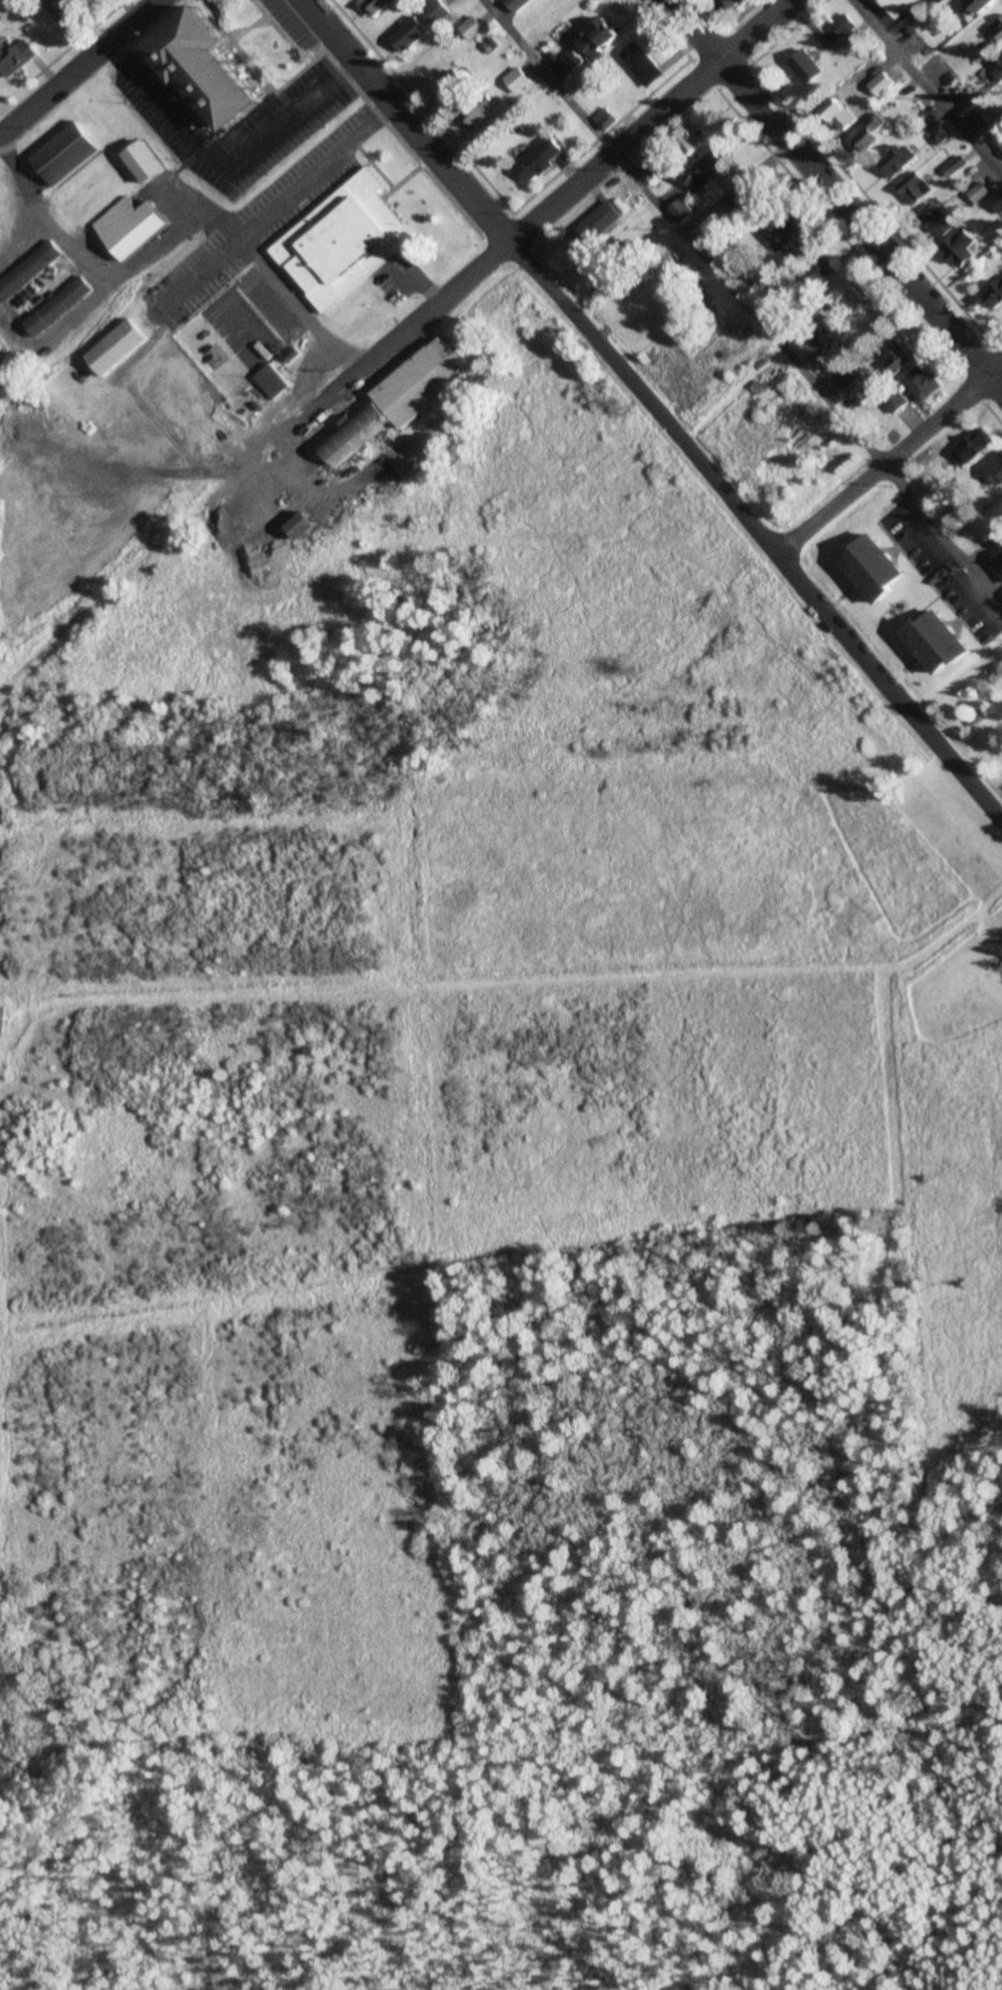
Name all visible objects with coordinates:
building: (732, 3)
building: (520, 4)
building: (982, 4)
building: (904, 6)
building: (379, 7)
road: (130, 8)
building: (67, 12)
building: (439, 13)
building: (846, 26)
building: (475, 29)
building: (411, 36)
building: (602, 39)
road: (73, 40)
road: (239, 48)
building: (492, 48)
building: (17, 58)
building: (573, 61)
road: (79, 65)
building: (644, 65)
building: (809, 67)
building: (997, 69)
building: (217, 71)
building: (459, 80)
building: (520, 80)
building: (882, 85)
road: (926, 87)
building: (480, 112)
road: (431, 114)
building: (845, 119)
building: (607, 120)
building: (980, 127)
building: (940, 133)
building: (870, 140)
building: (690, 142)
building: (68, 152)
building: (542, 159)
building: (147, 161)
building: (896, 161)
building: (955, 166)
building: (709, 169)
building: (916, 188)
building: (979, 192)
road: (834, 195)
building: (750, 199)
building: (997, 202)
building: (683, 211)
road: (540, 218)
building: (939, 221)
building: (132, 225)
building: (600, 225)
building: (784, 232)
building: (345, 241)
building: (961, 248)
building: (824, 269)
building: (29, 270)
building: (996, 295)
building: (849, 296)
road: (745, 299)
building: (59, 306)
building: (118, 347)
building: (900, 357)
building: (273, 381)
building: (924, 384)
building: (400, 400)
road: (653, 408)
building: (975, 447)
road: (890, 456)
building: (995, 470)
building: (306, 525)
building: (879, 569)
building: (941, 641)

